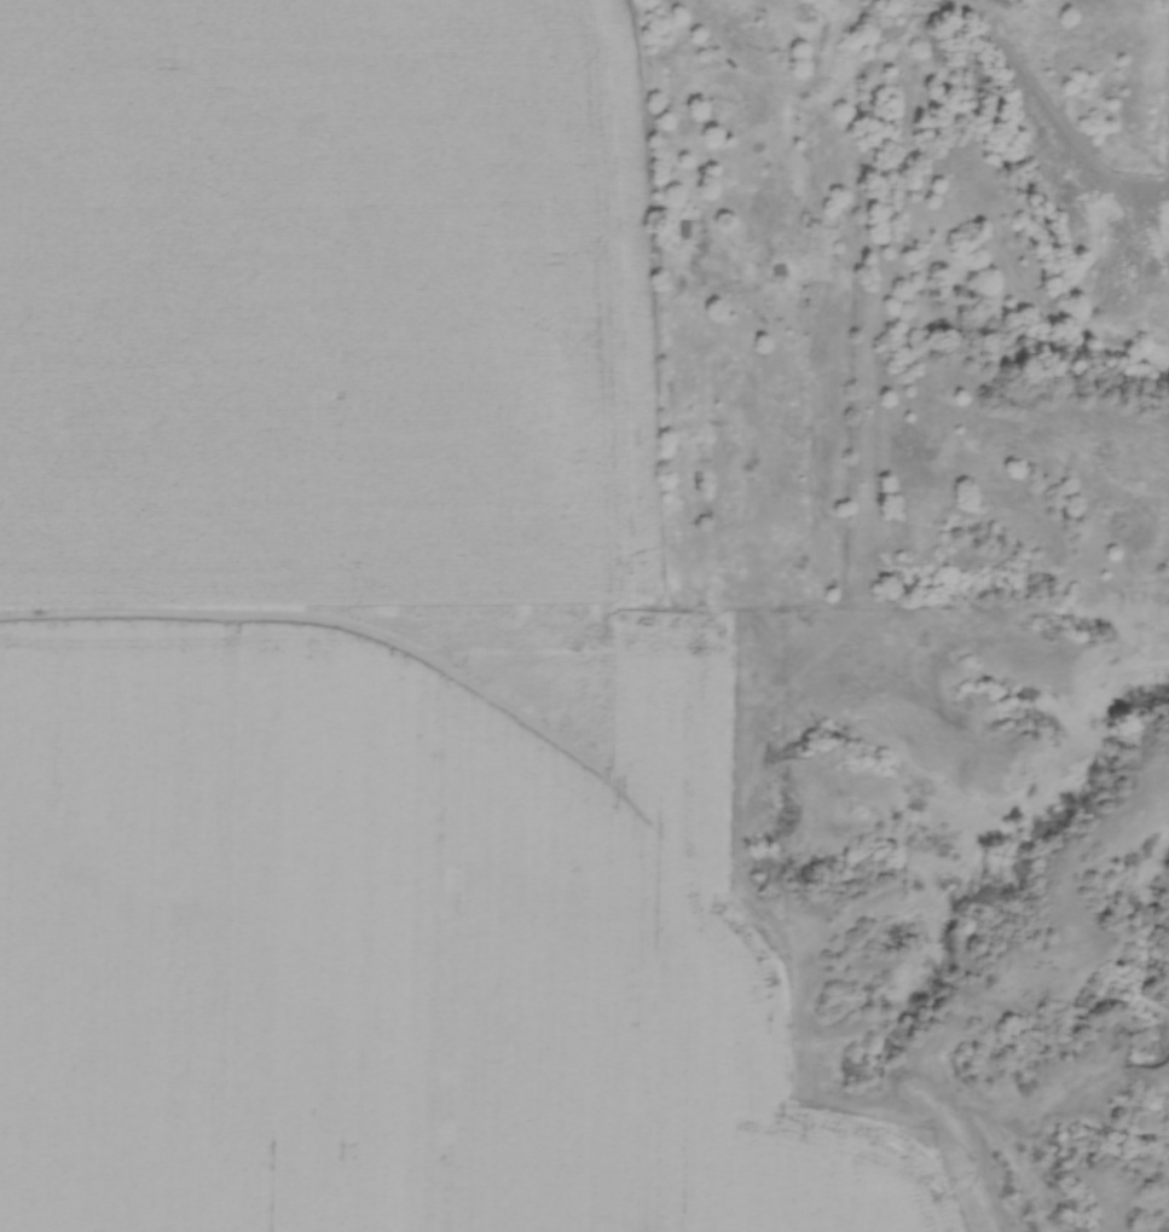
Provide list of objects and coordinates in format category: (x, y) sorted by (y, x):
building: (682, 229)

